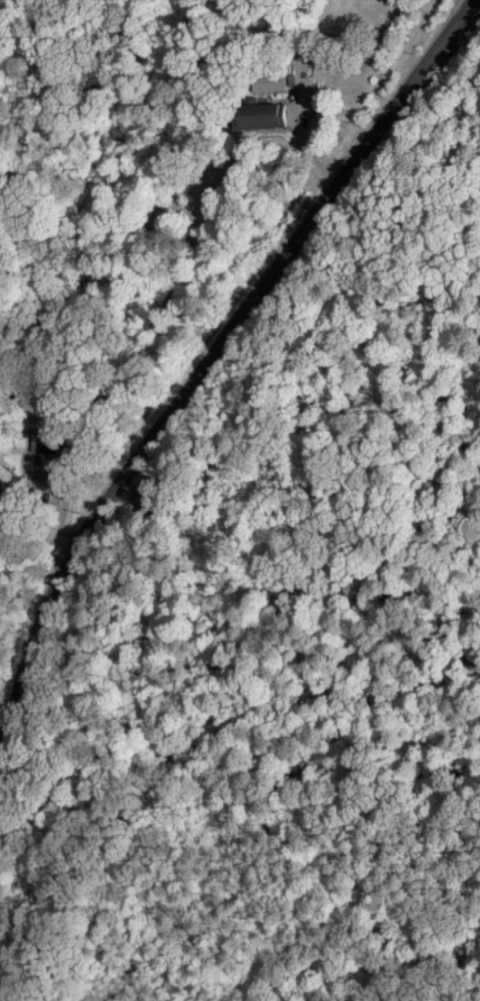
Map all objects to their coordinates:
building: (266, 81)
building: (258, 113)
road: (213, 357)
park: (198, 529)

